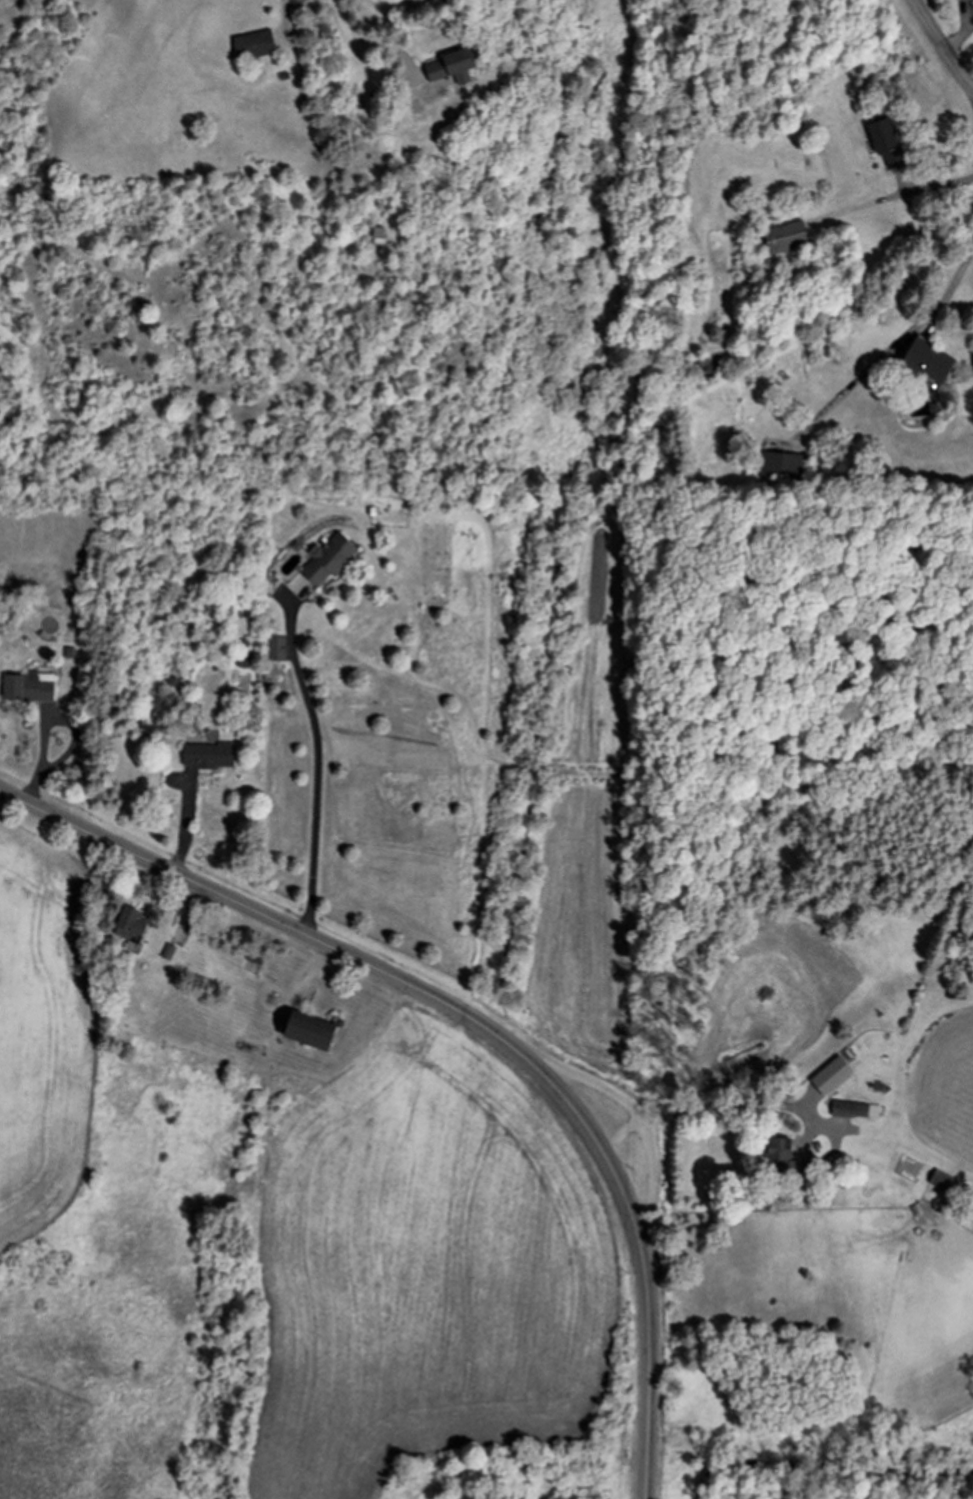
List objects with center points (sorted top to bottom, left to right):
building: (254, 45)
road: (940, 47)
road: (359, 54)
building: (452, 67)
building: (885, 140)
road: (940, 185)
building: (786, 237)
road: (953, 281)
building: (928, 361)
building: (782, 465)
building: (329, 559)
building: (278, 649)
building: (30, 687)
building: (209, 755)
road: (317, 768)
building: (130, 927)
road: (478, 1025)
building: (831, 1075)
road: (593, 1084)
road: (741, 1105)
building: (855, 1110)
road: (620, 1134)
building: (781, 1156)
road: (652, 1180)
building: (948, 1184)
river: (850, 1467)

